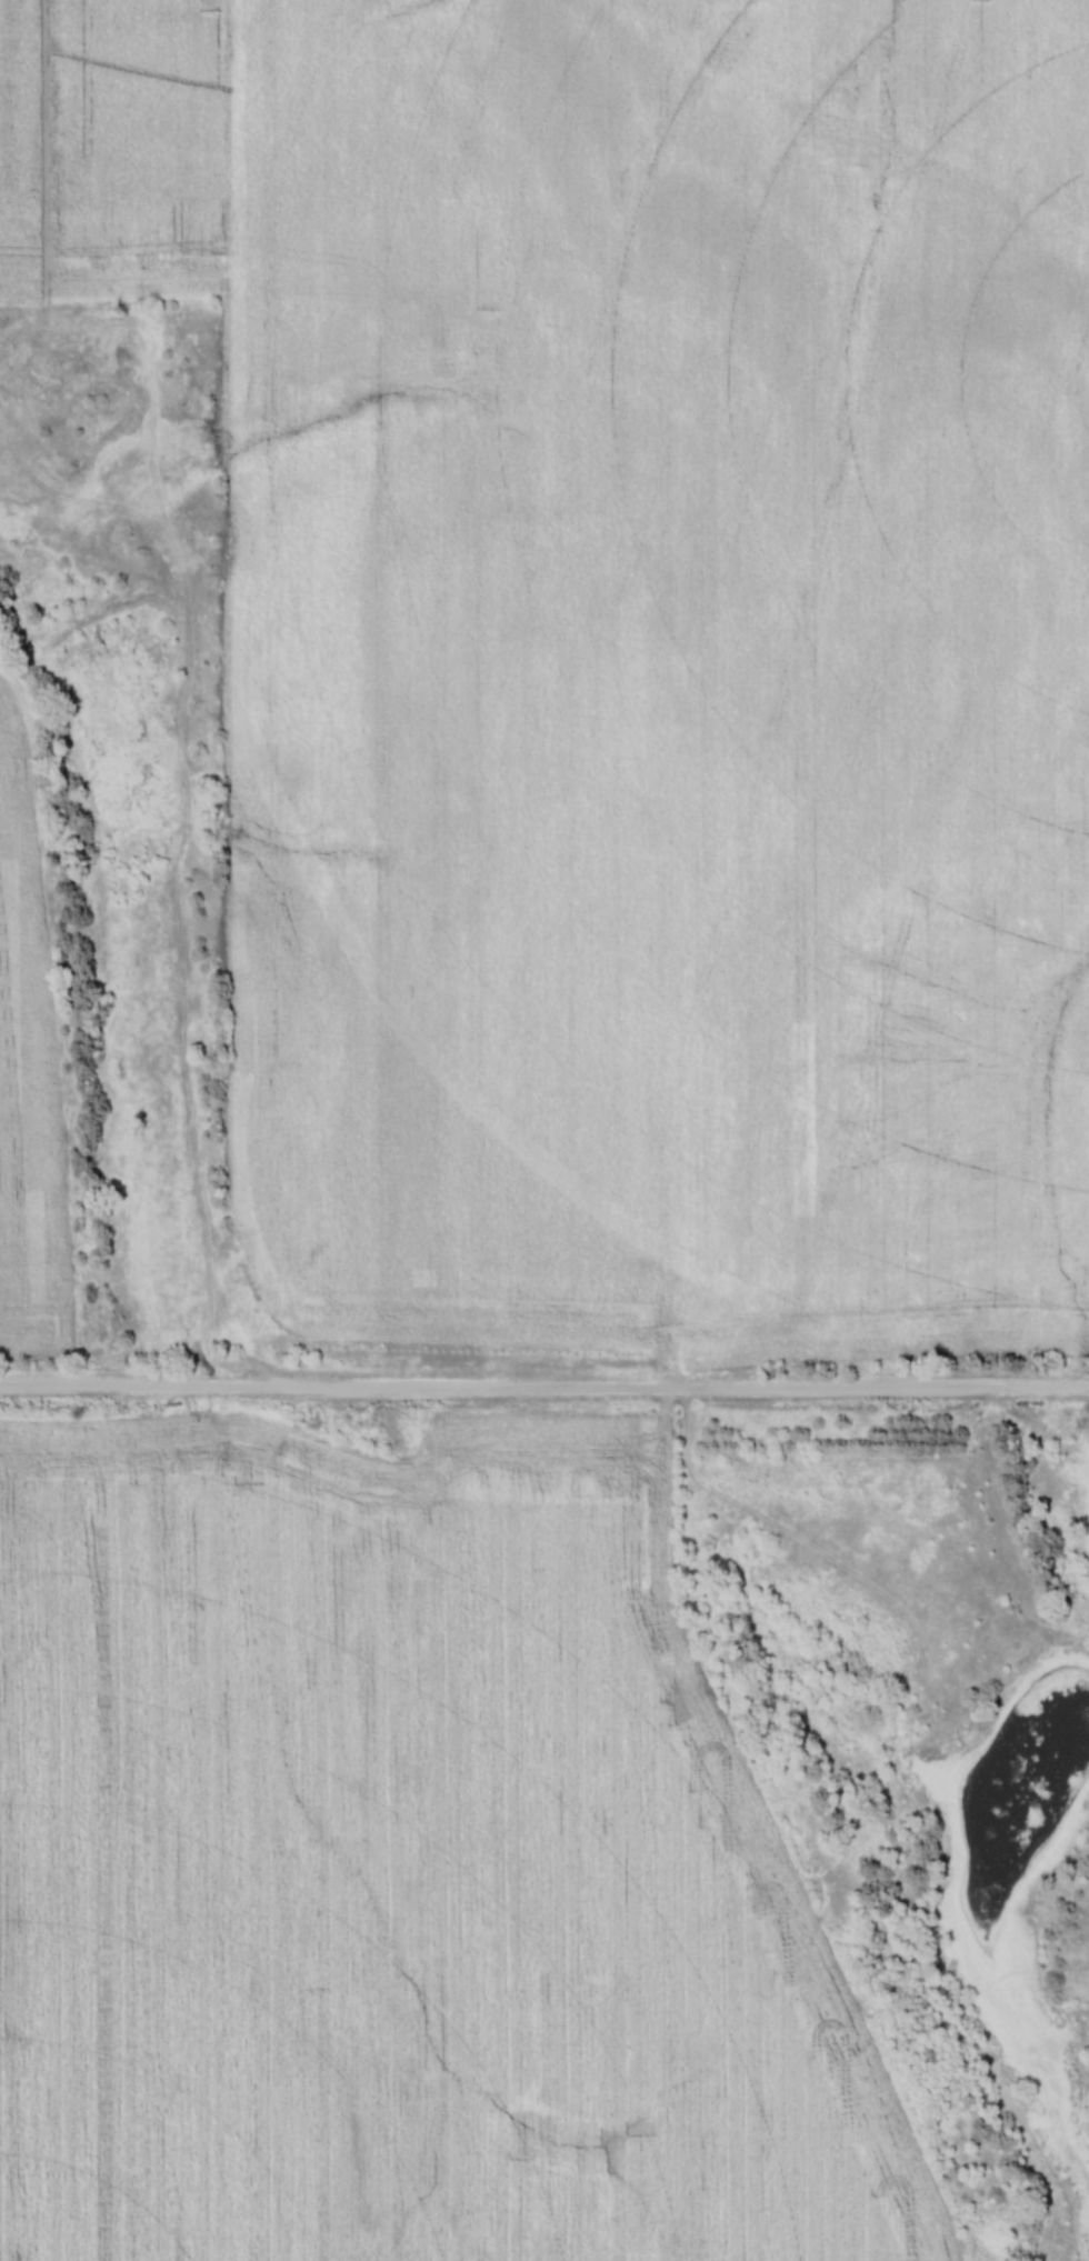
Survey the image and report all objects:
road: (544, 1394)

